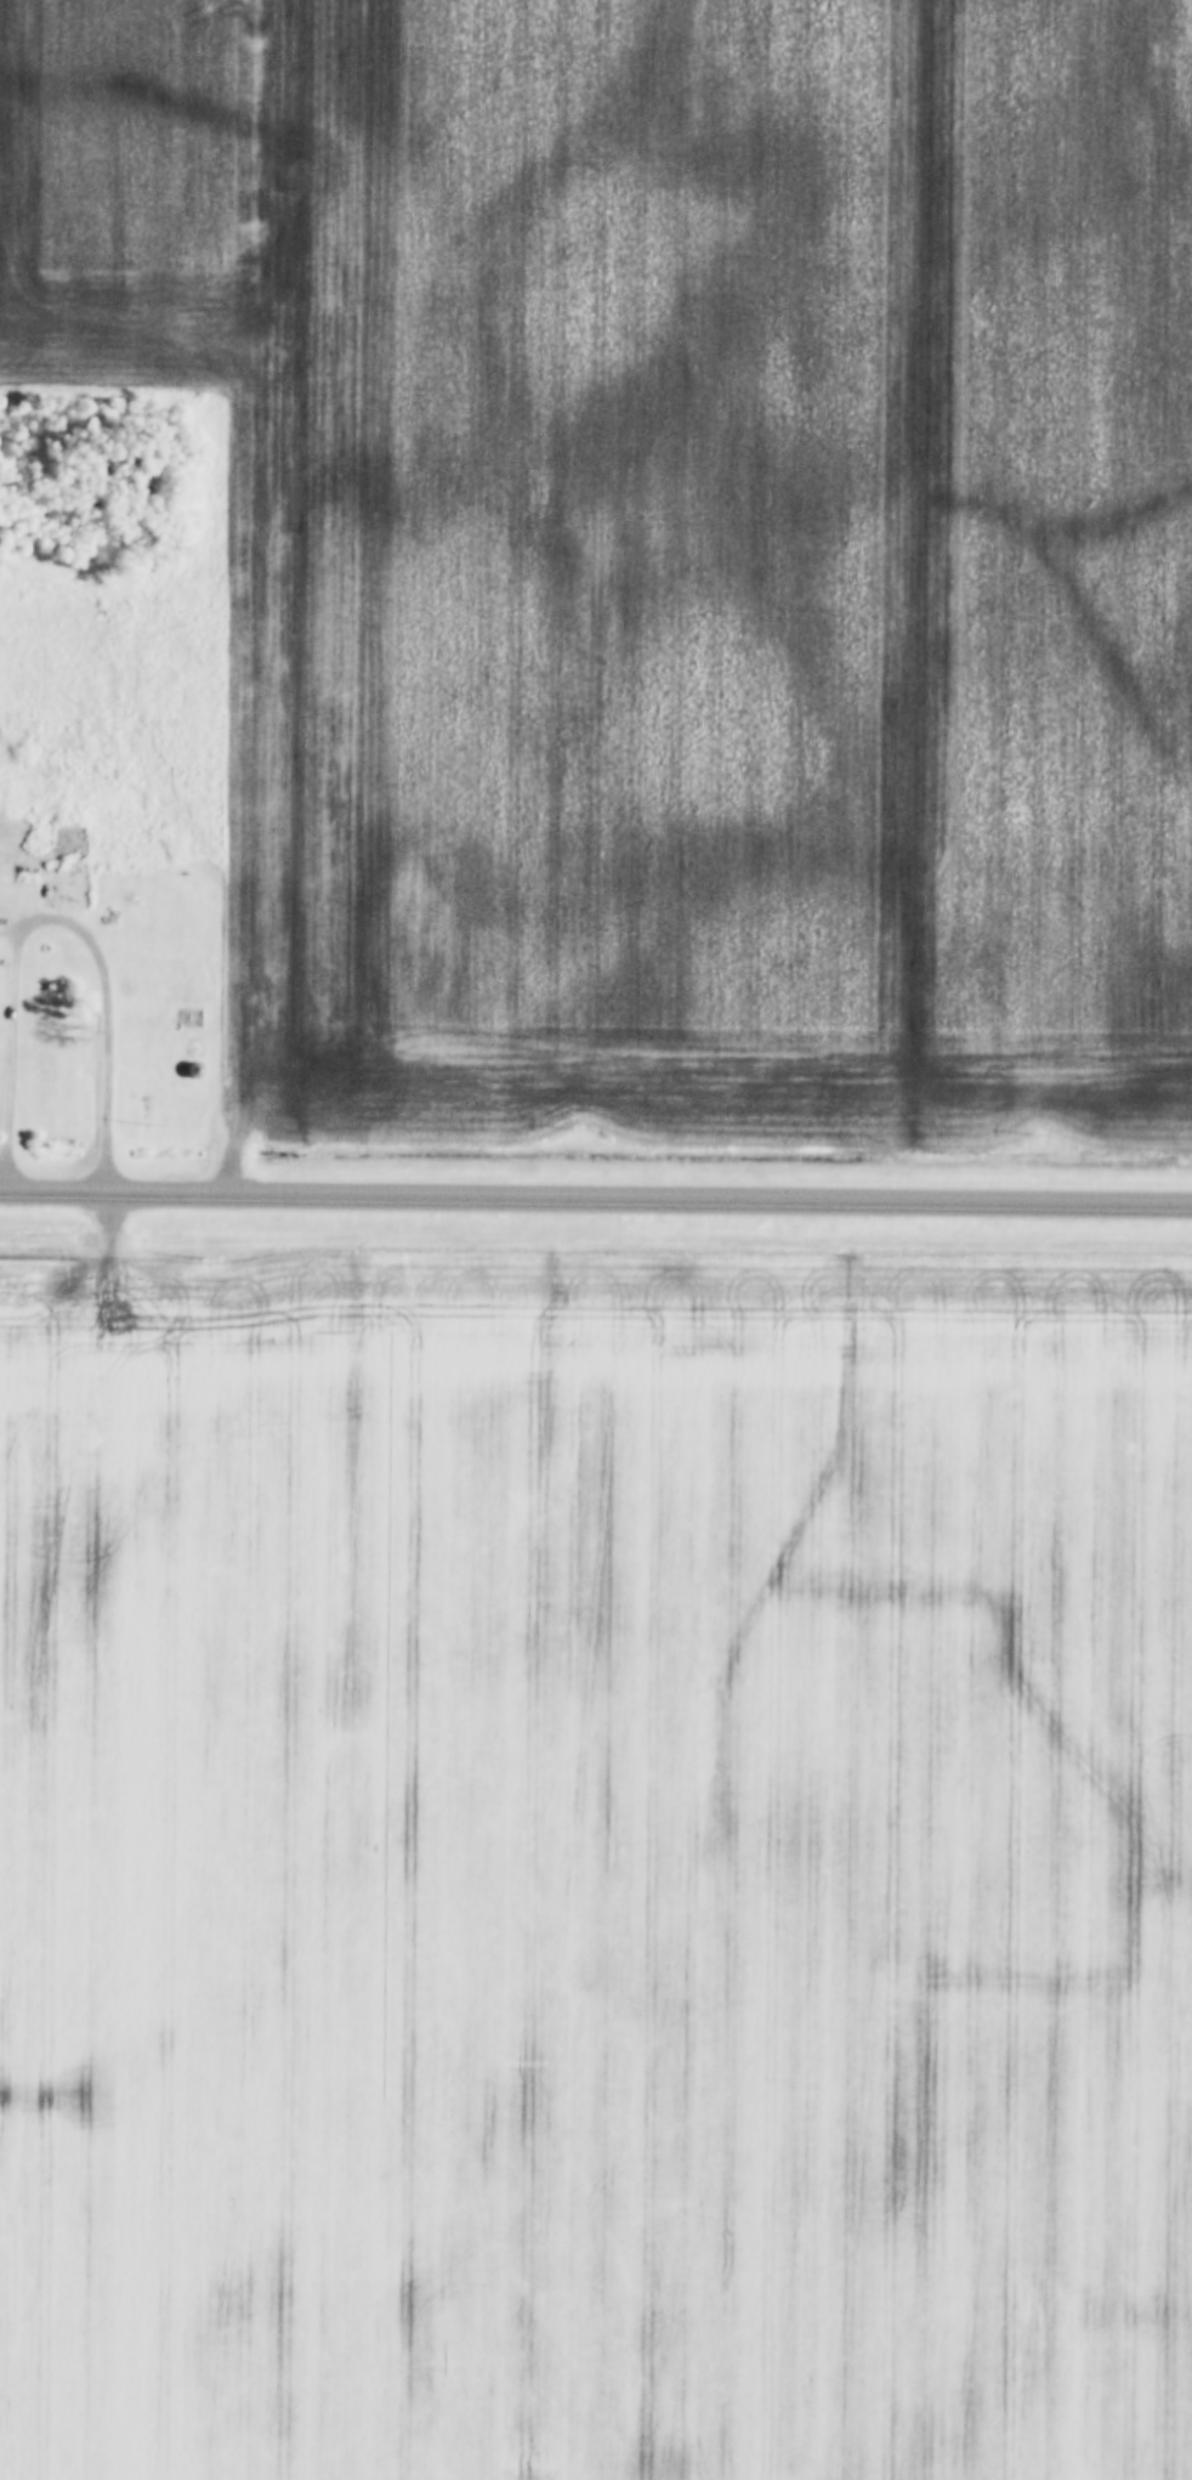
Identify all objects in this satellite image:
building: (68, 851)
road: (57, 924)
building: (194, 1049)
silo: (194, 1049)
building: (194, 1072)
silo: (194, 1072)
road: (596, 1197)

